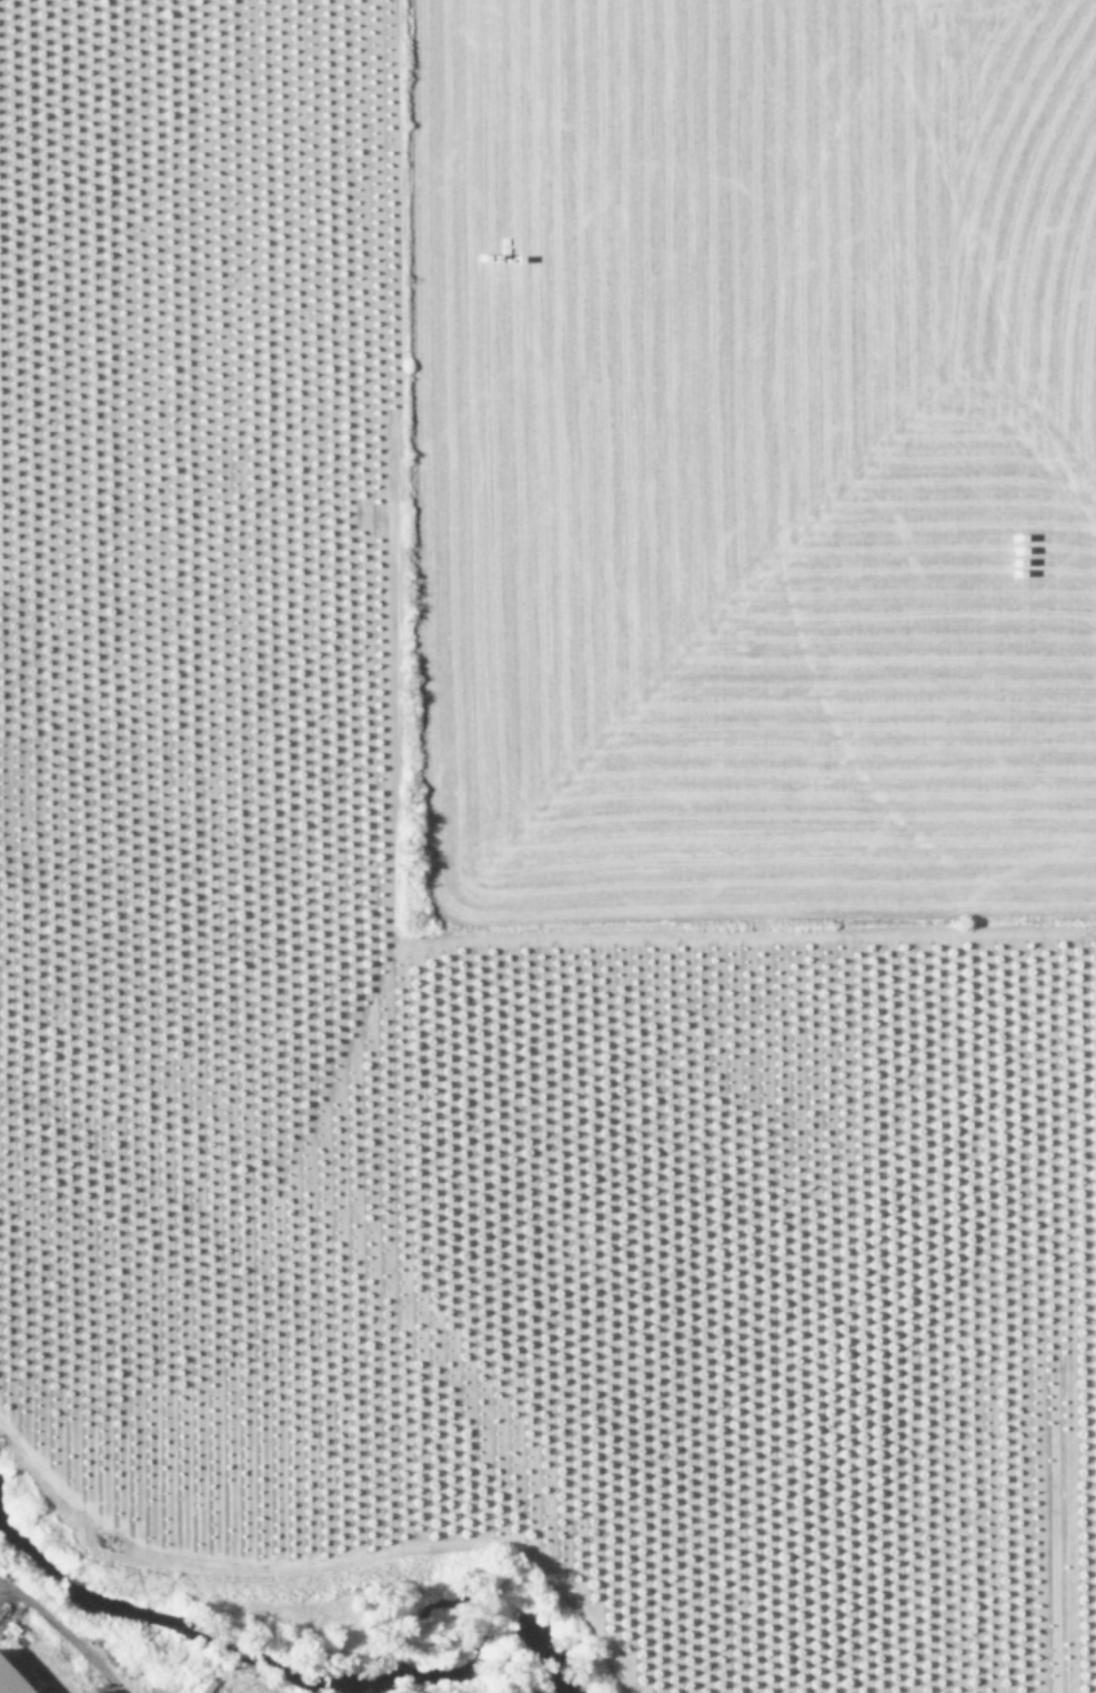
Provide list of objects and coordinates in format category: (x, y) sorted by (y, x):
crop: (563, 808)
crop: (43, 1652)
building: (9, 1683)

